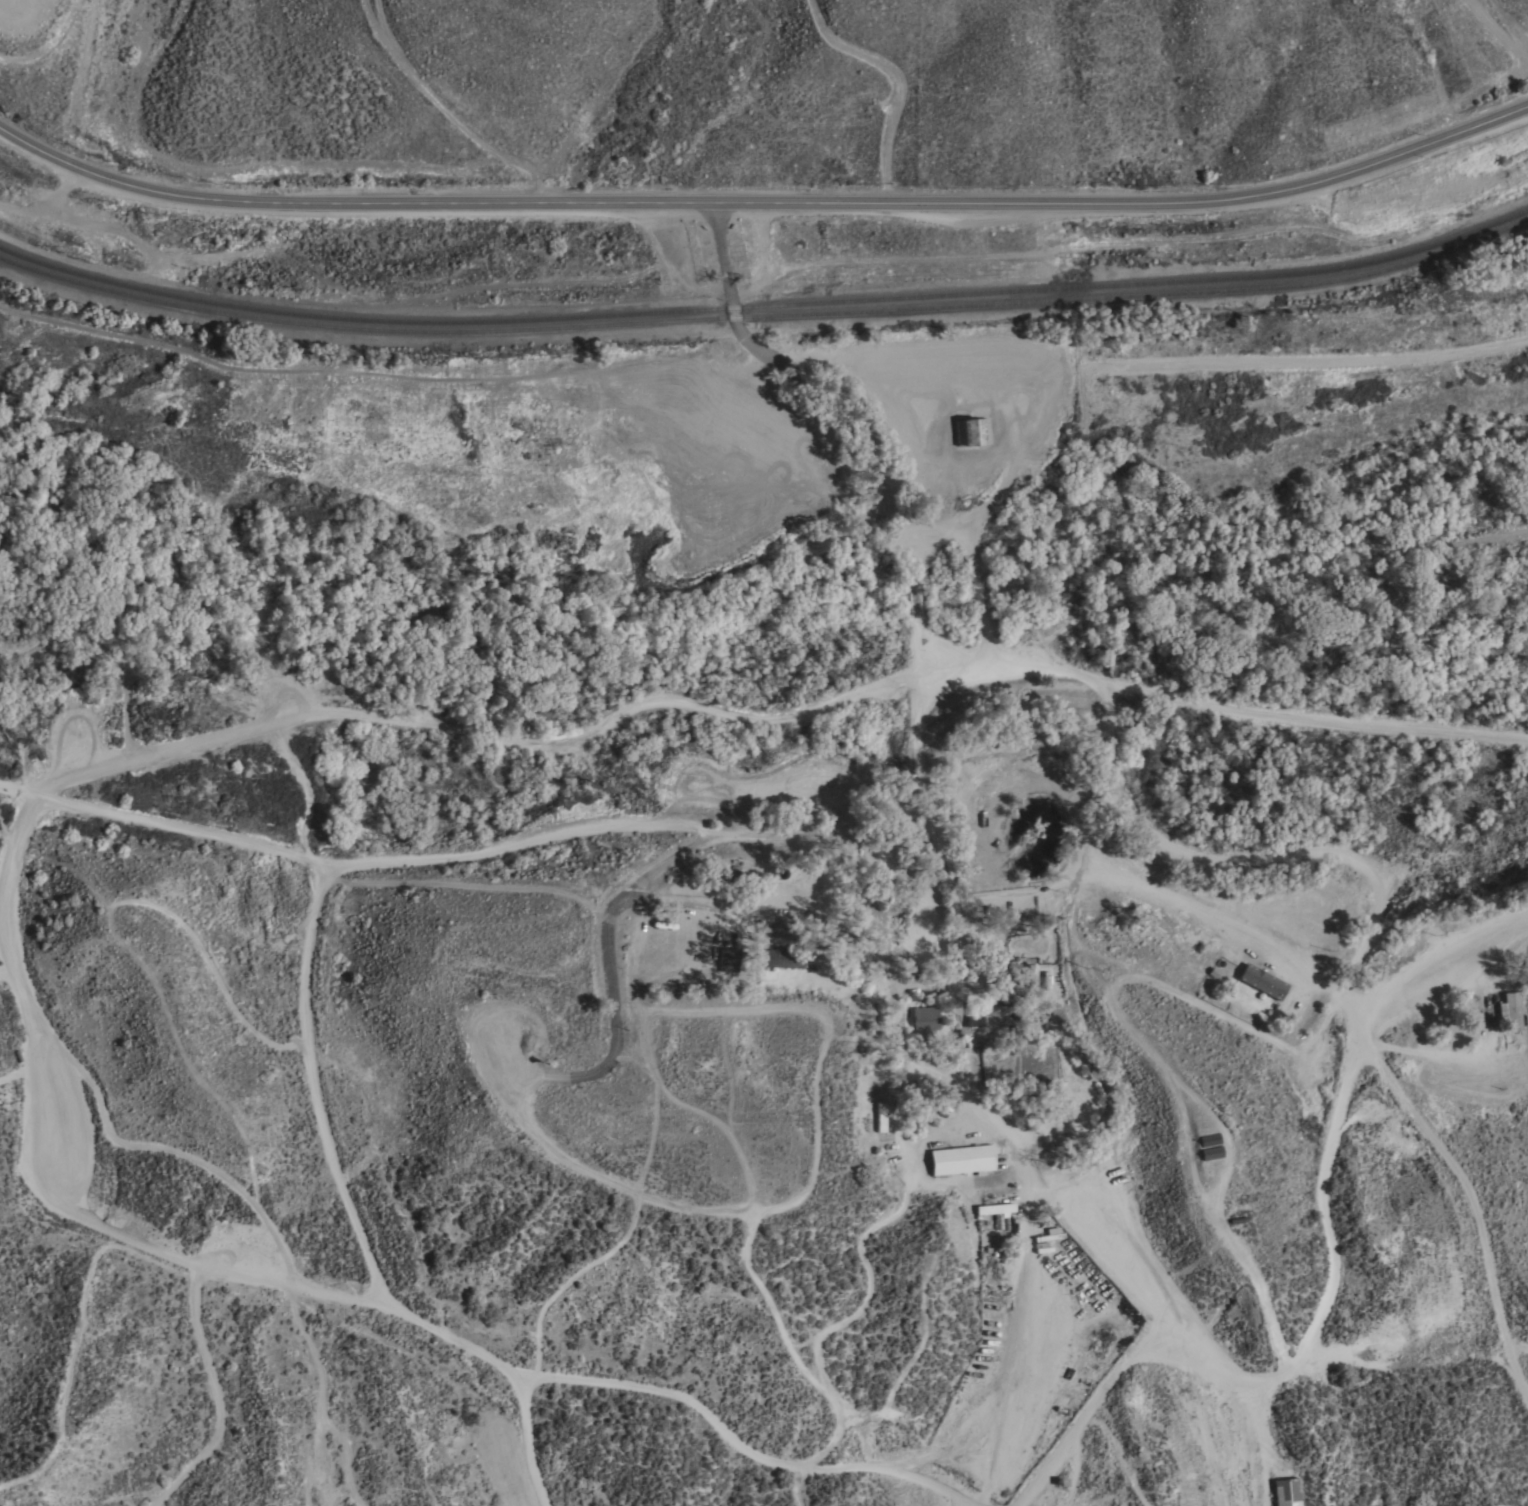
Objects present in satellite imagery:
road: (763, 204)
railway: (78, 274)
railway: (847, 301)
railway: (765, 316)
road: (1063, 365)
building: (971, 432)
road: (814, 457)
road: (954, 518)
road: (91, 770)
road: (922, 805)
road: (783, 837)
road: (525, 840)
building: (728, 876)
road: (1183, 901)
road: (702, 903)
building: (1150, 910)
road: (1359, 957)
building: (780, 958)
building: (728, 959)
road: (1114, 964)
building: (1003, 968)
building: (1262, 981)
building: (1044, 984)
building: (1510, 1011)
building: (985, 1018)
building: (924, 1019)
road: (1162, 1061)
building: (973, 1070)
road: (317, 1087)
building: (1206, 1139)
road: (167, 1147)
building: (1209, 1153)
building: (961, 1159)
building: (994, 1209)
road: (897, 1214)
road: (1327, 1224)
building: (997, 1235)
road: (1517, 1349)
road: (218, 1398)
road: (1090, 1410)
road: (529, 1439)
road: (1260, 1442)
building: (1286, 1492)
road: (952, 1498)

